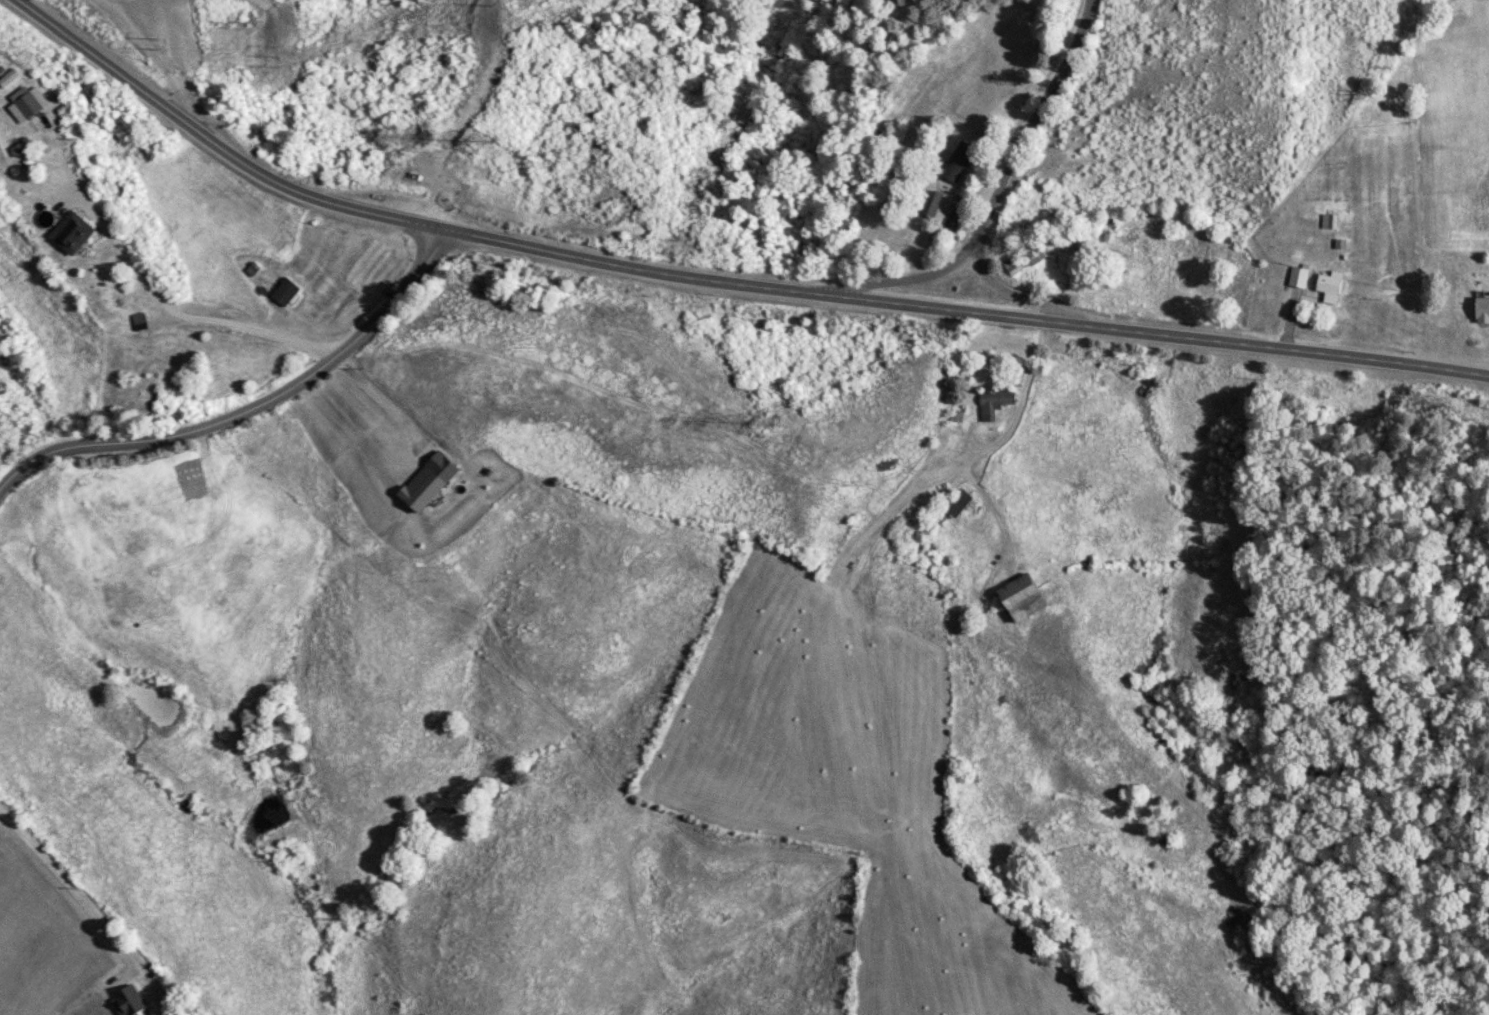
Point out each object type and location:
road: (154, 53)
building: (28, 105)
building: (958, 163)
road: (1009, 178)
building: (939, 207)
building: (72, 233)
building: (1015, 266)
building: (1299, 278)
road: (909, 279)
road: (725, 280)
building: (1329, 283)
building: (285, 293)
building: (1482, 310)
road: (245, 399)
road: (1021, 399)
building: (995, 404)
building: (958, 416)
building: (956, 505)
building: (1021, 599)

